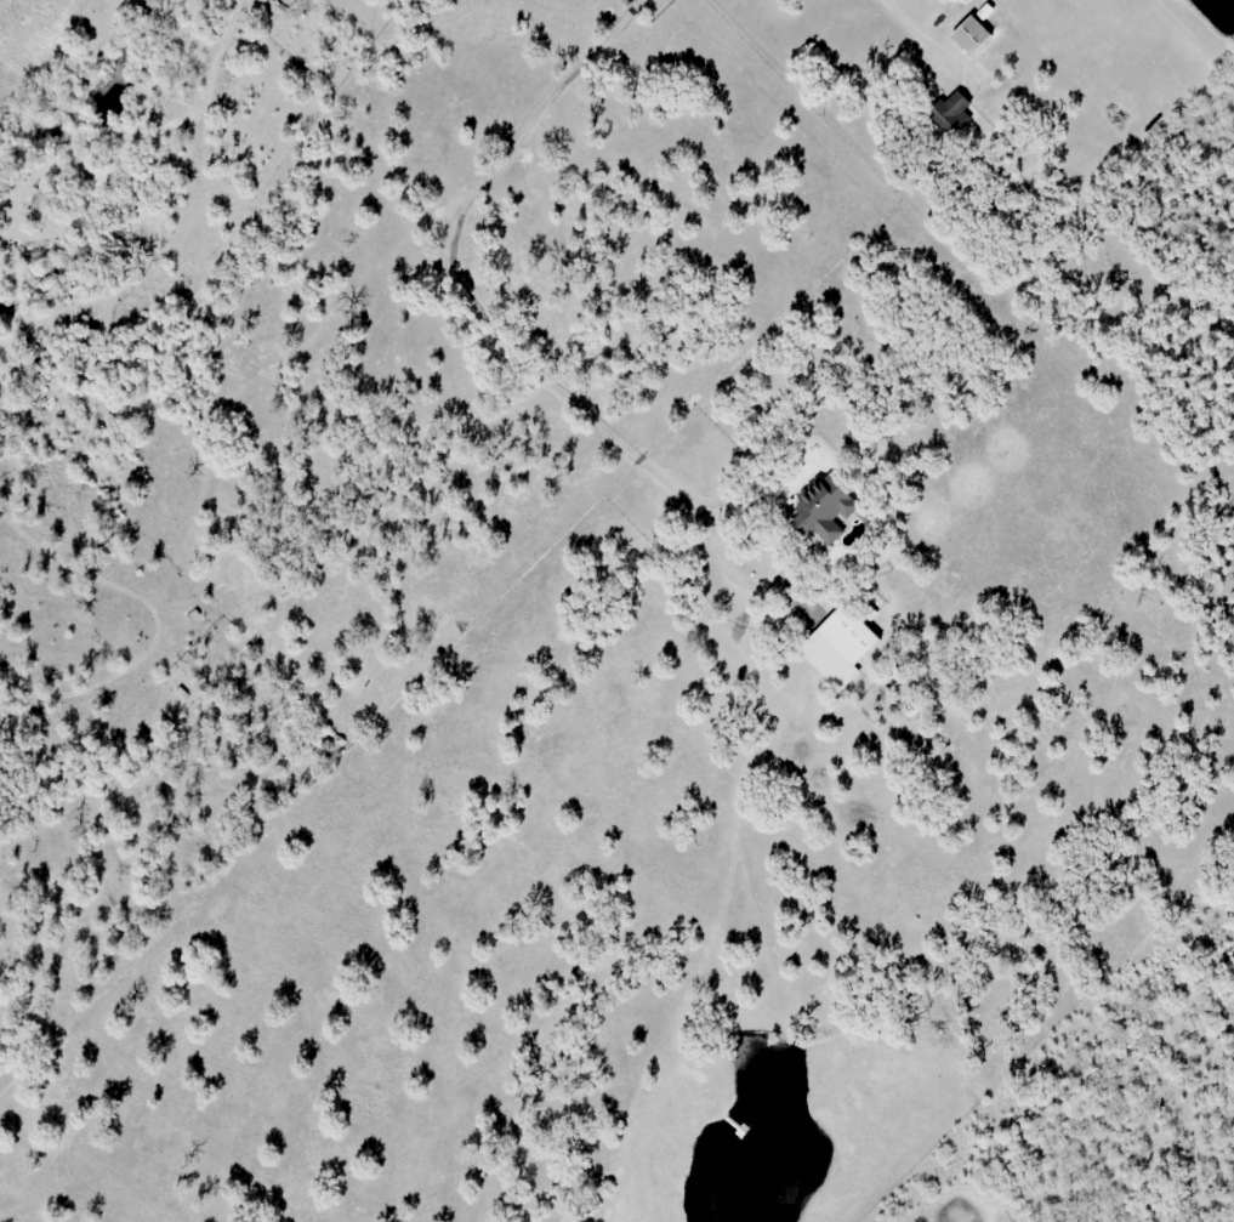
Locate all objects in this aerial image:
building: (974, 34)
building: (952, 113)
building: (829, 506)
building: (842, 646)

